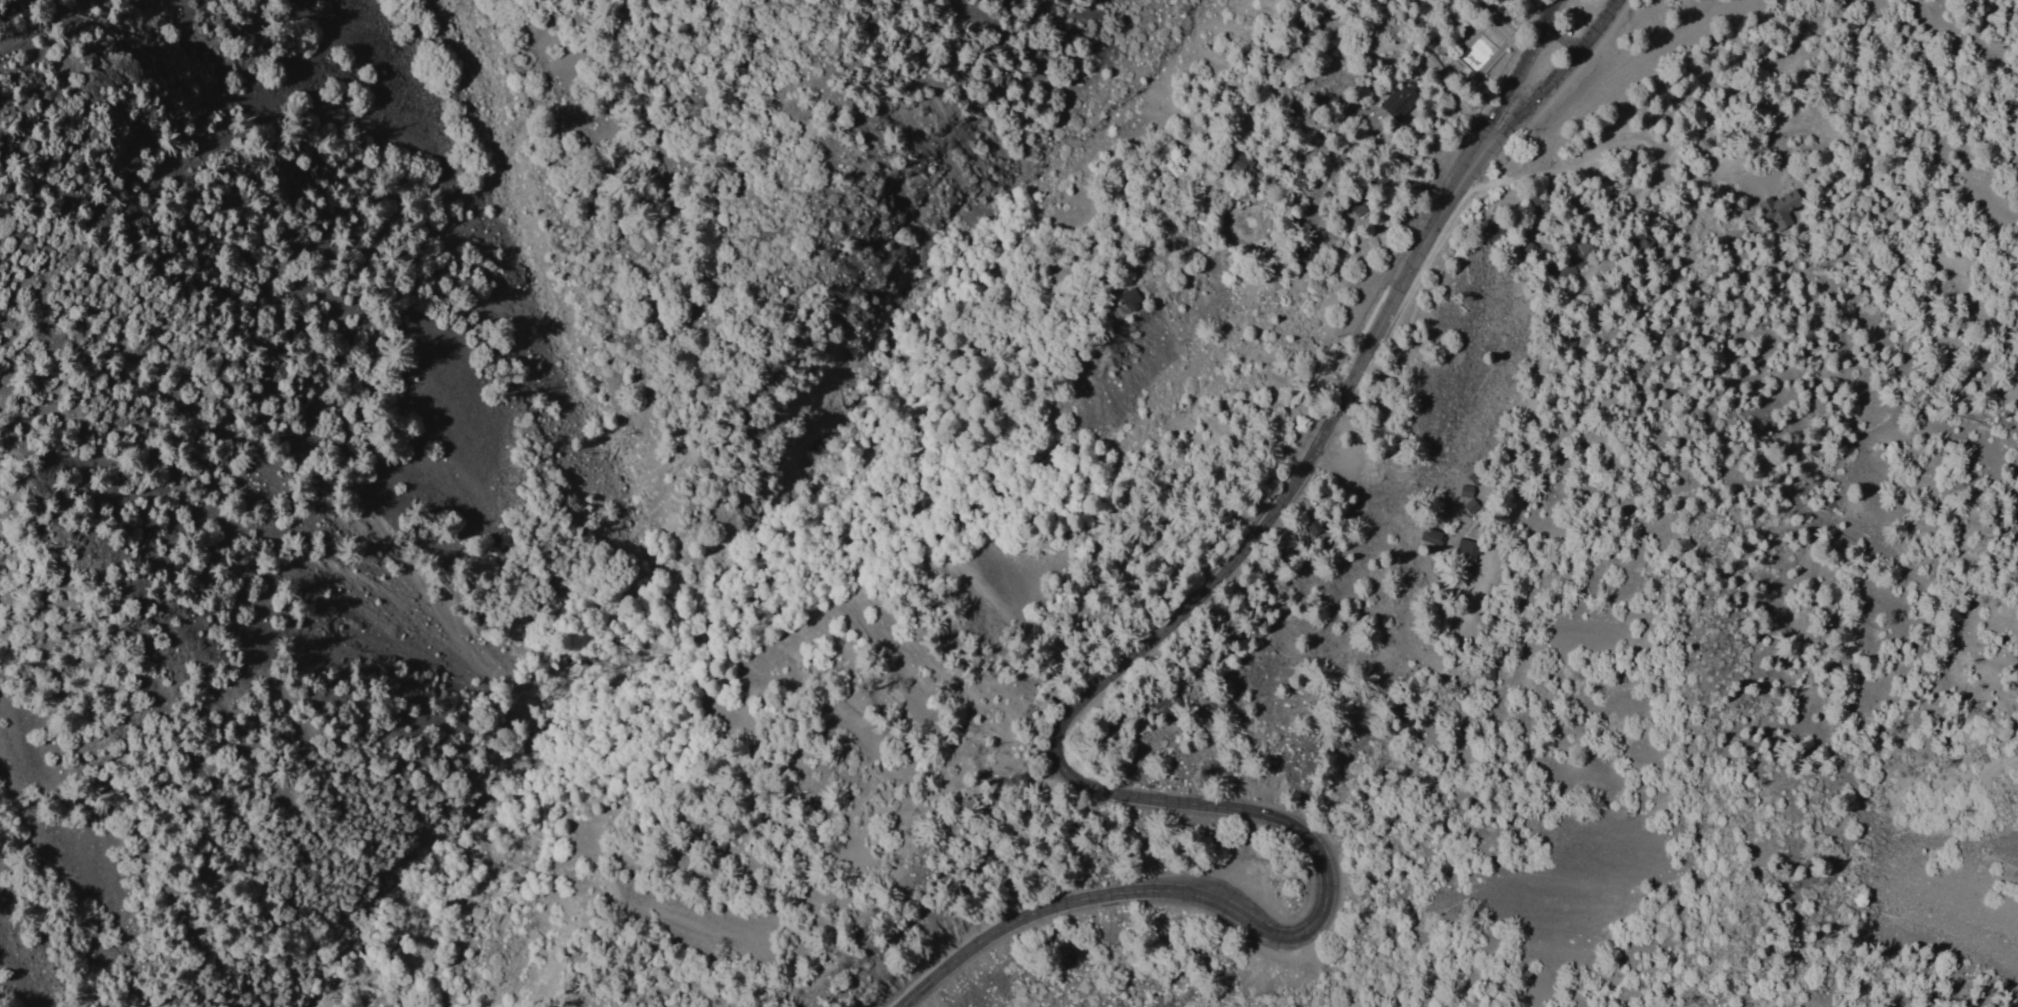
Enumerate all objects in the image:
road: (1534, 15)
building: (1482, 48)
road: (1380, 52)
road: (1520, 68)
road: (1560, 75)
building: (1241, 167)
road: (1549, 169)
building: (1782, 208)
building: (1638, 242)
building: (1572, 260)
building: (1128, 300)
building: (1571, 342)
building: (1465, 556)
road: (1086, 652)
road: (994, 673)
building: (1160, 702)
road: (1095, 720)
road: (1078, 780)

